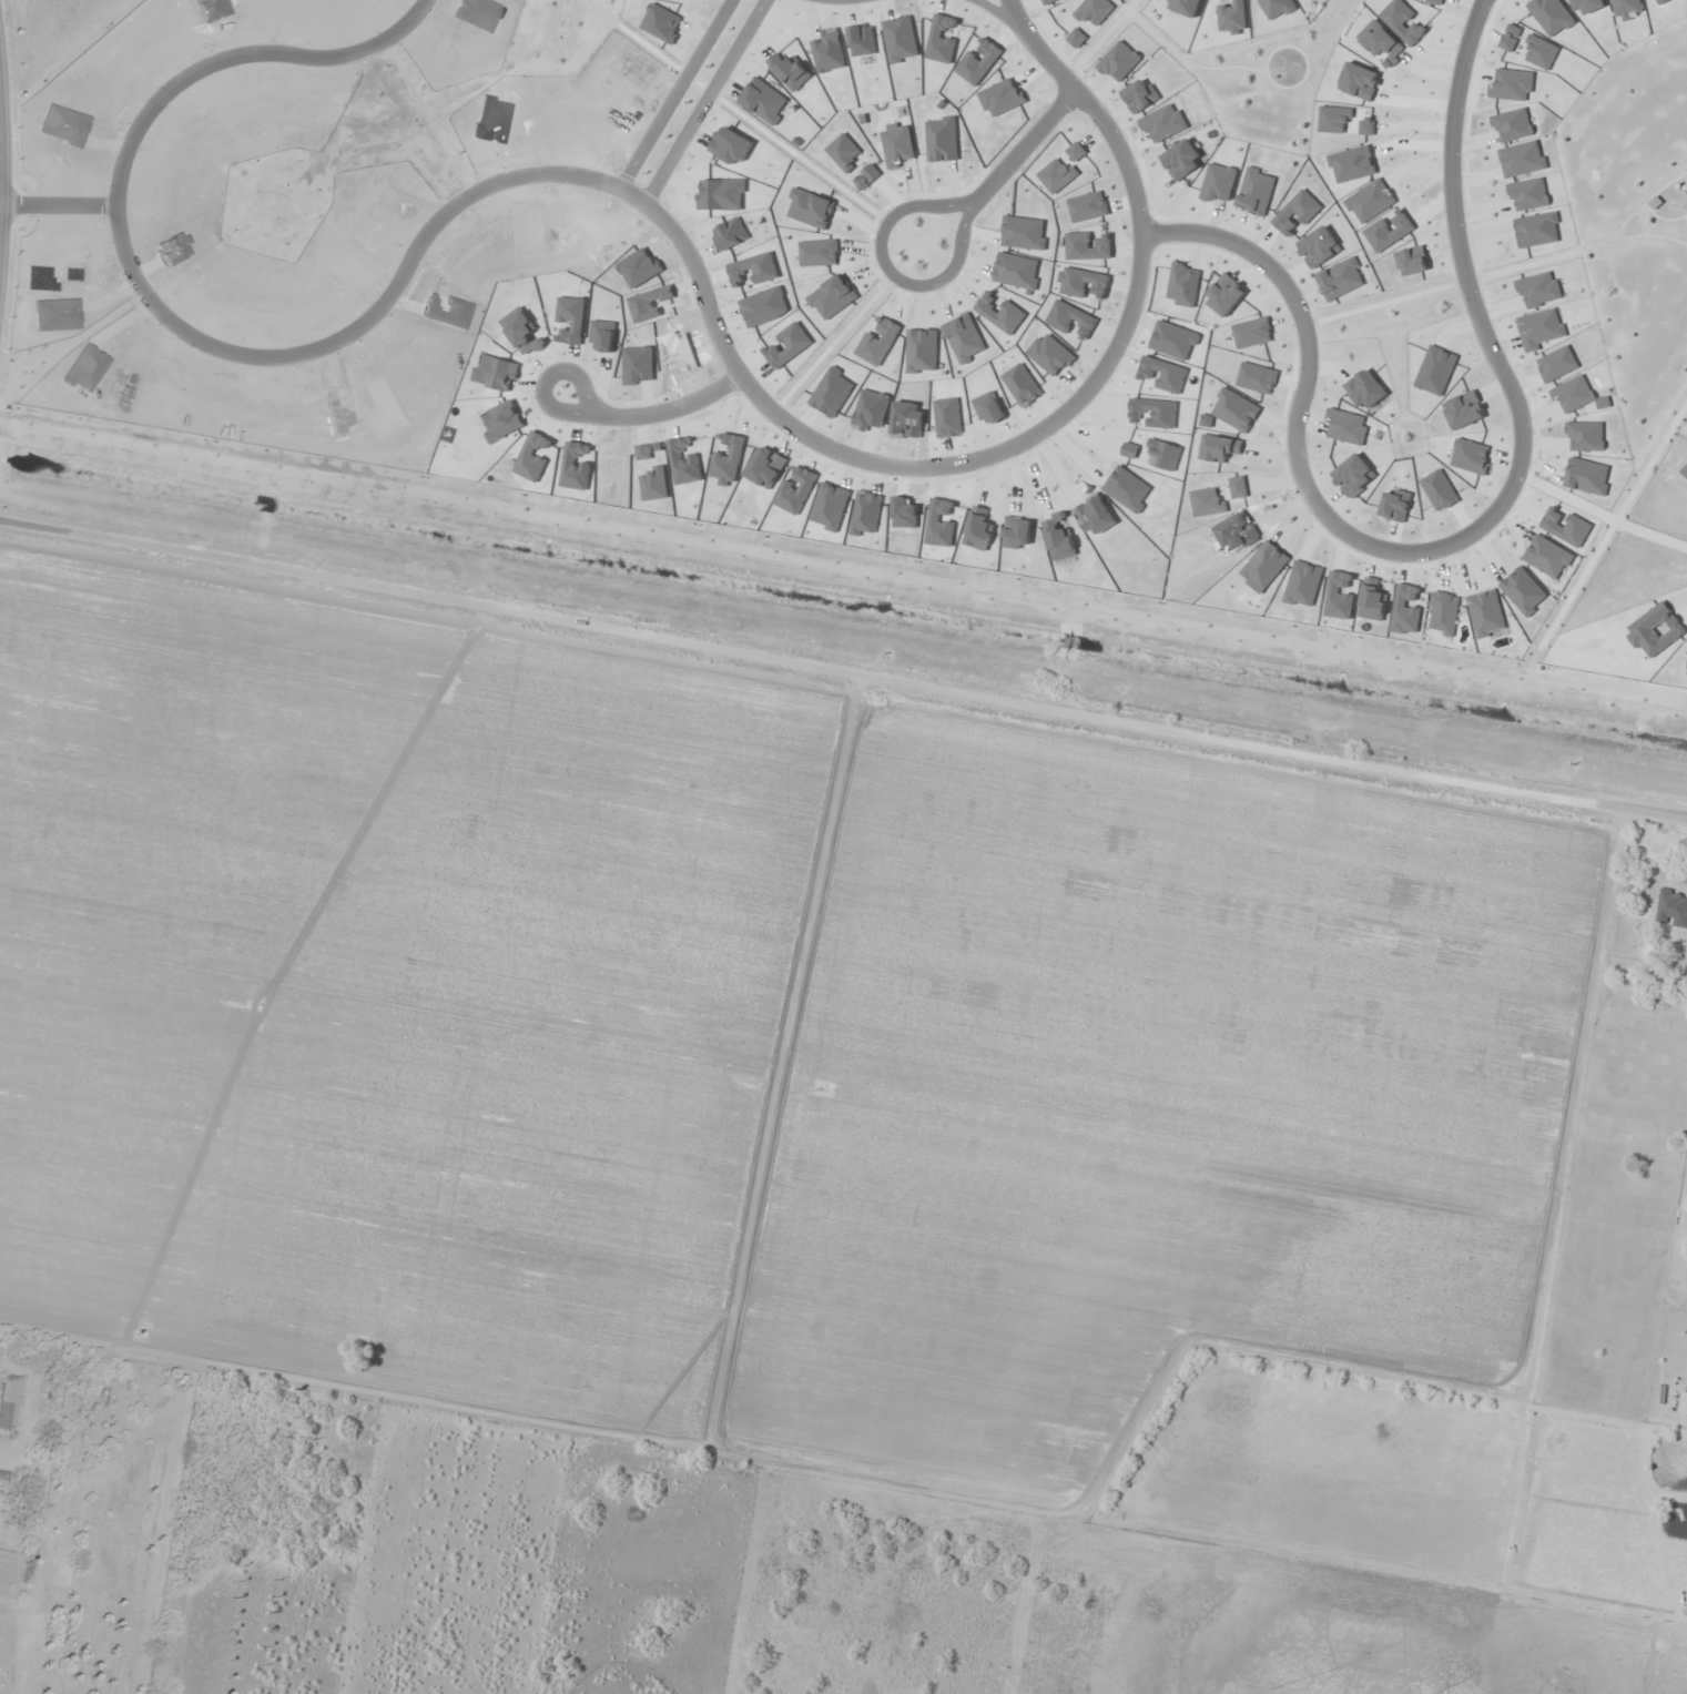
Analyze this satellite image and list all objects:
road: (1484, 2)
road: (1005, 16)
road: (1100, 39)
road: (237, 55)
road: (1189, 62)
road: (674, 95)
road: (705, 103)
road: (1026, 146)
road: (0, 179)
road: (1646, 202)
park: (1636, 225)
road: (1582, 248)
road: (888, 272)
road: (1467, 281)
road: (705, 300)
road: (1380, 304)
road: (1600, 513)
road: (1614, 526)
road: (1471, 532)
road: (797, 663)
road: (1642, 809)
building: (1671, 907)
building: (9, 1401)
building: (1684, 1402)
building: (4, 1534)

